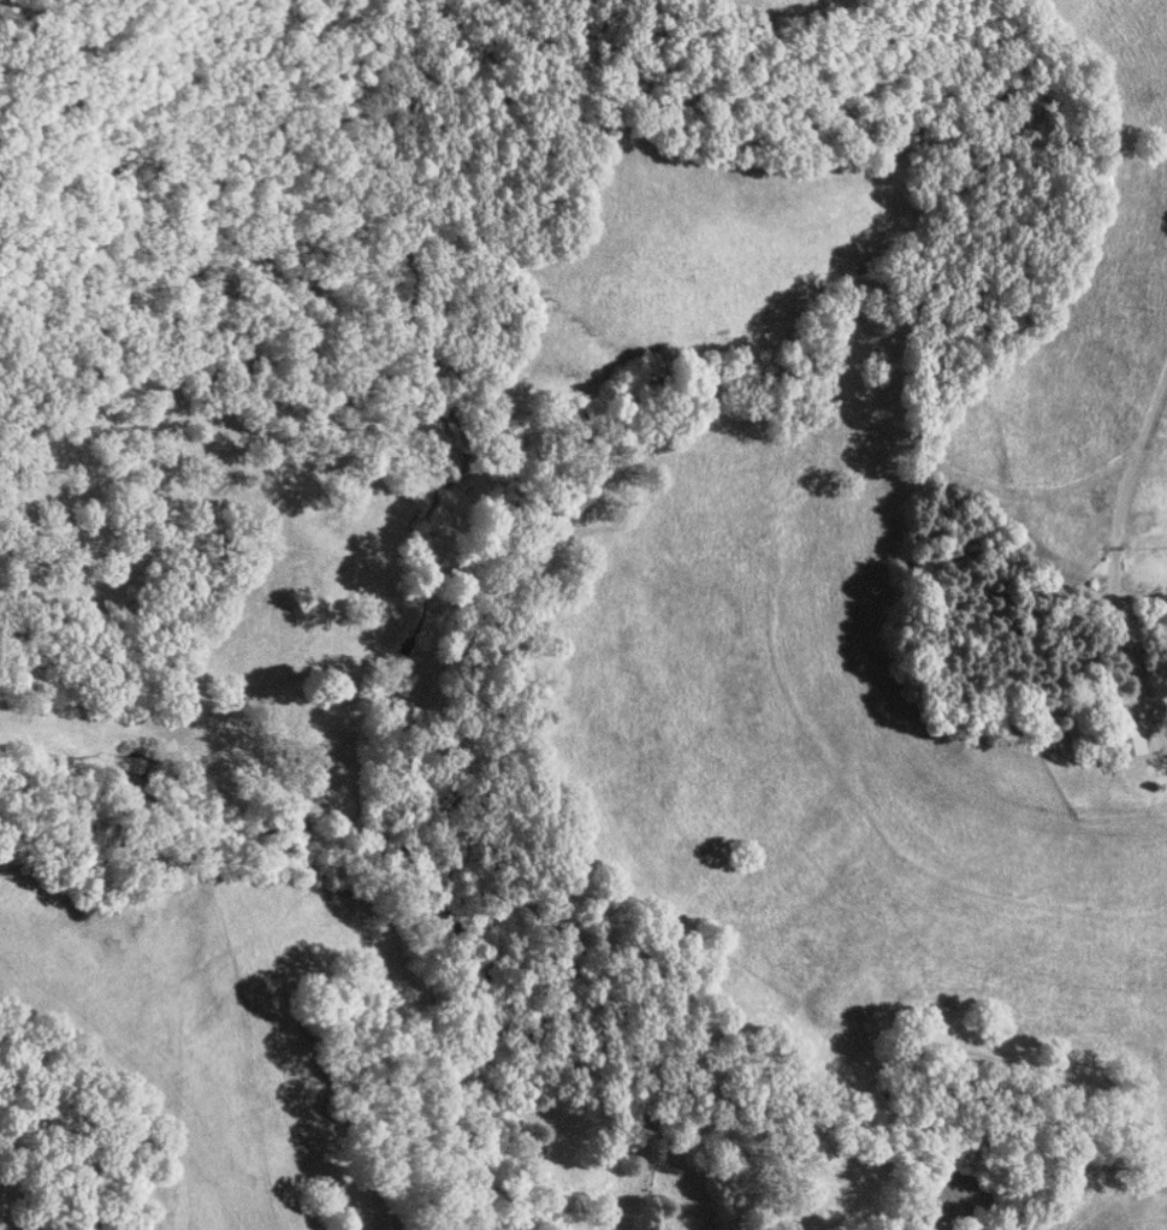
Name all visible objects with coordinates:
road: (1112, 554)
building: (1127, 738)

